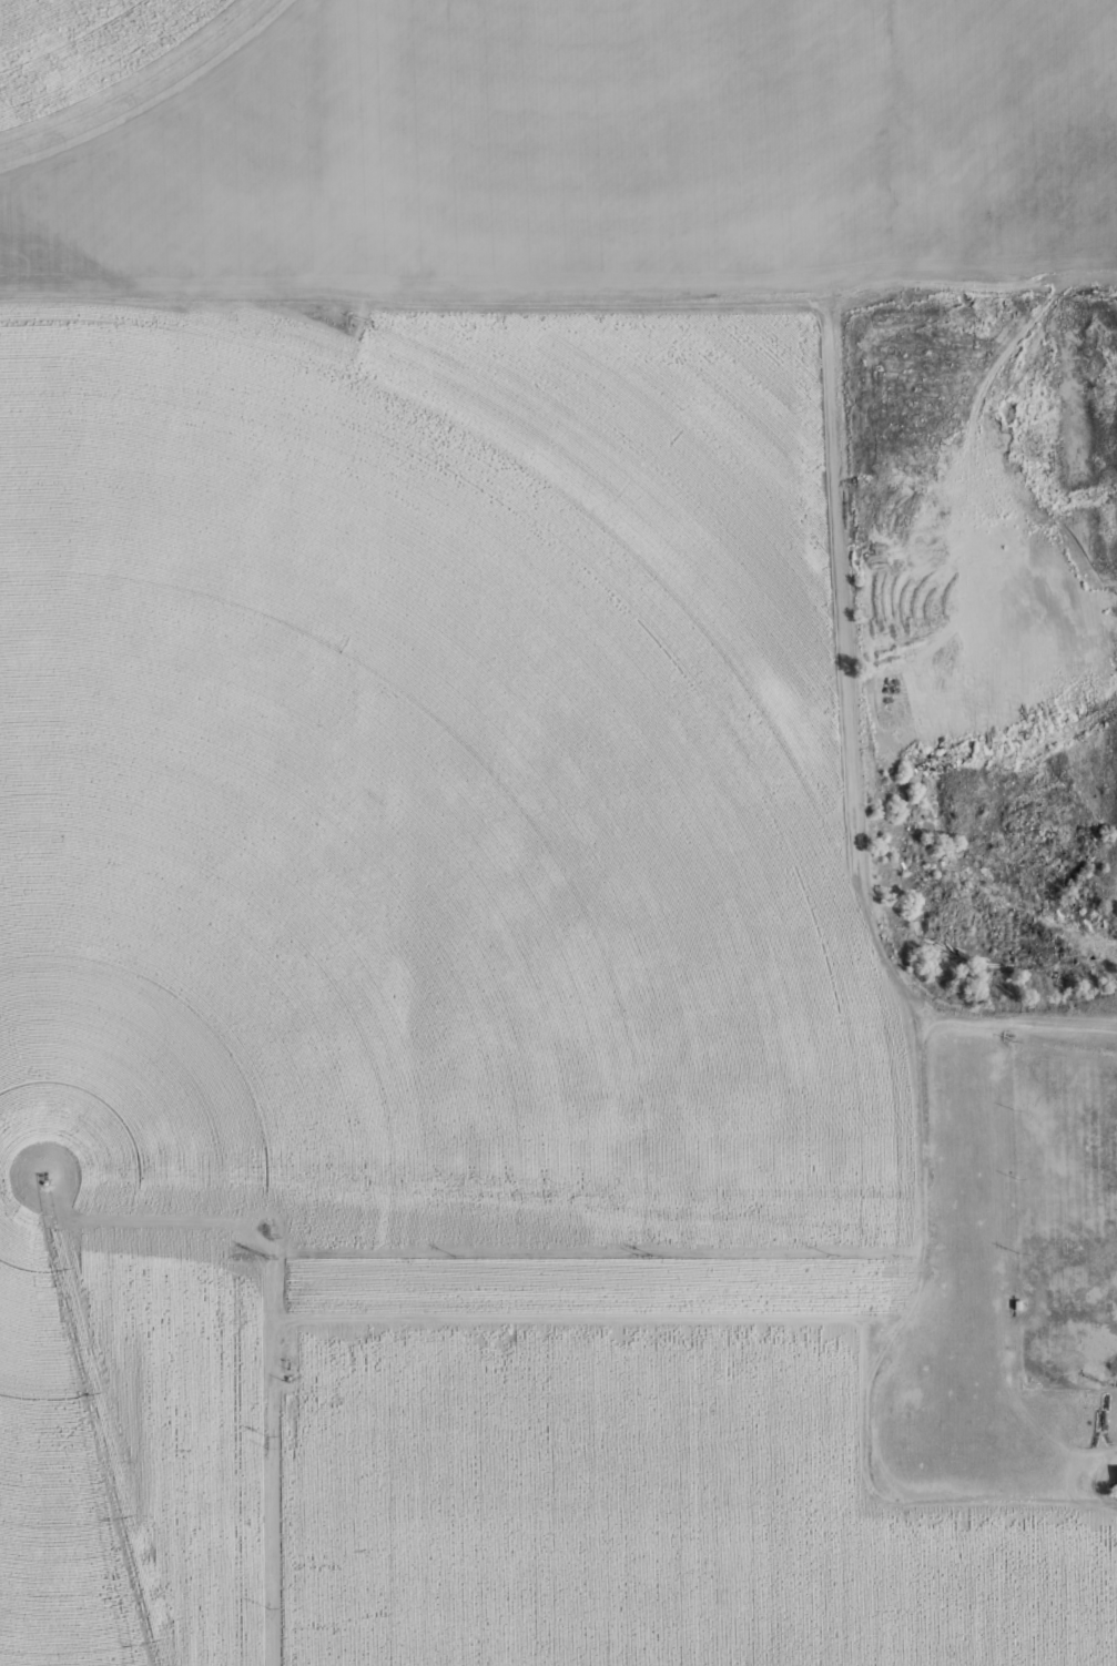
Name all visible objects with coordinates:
road: (233, 222)
road: (679, 298)
road: (968, 502)
road: (844, 664)
road: (1016, 1023)
building: (45, 1182)
road: (998, 1292)
building: (1014, 1303)
road: (351, 1317)
crop: (138, 1402)
building: (1115, 1480)

